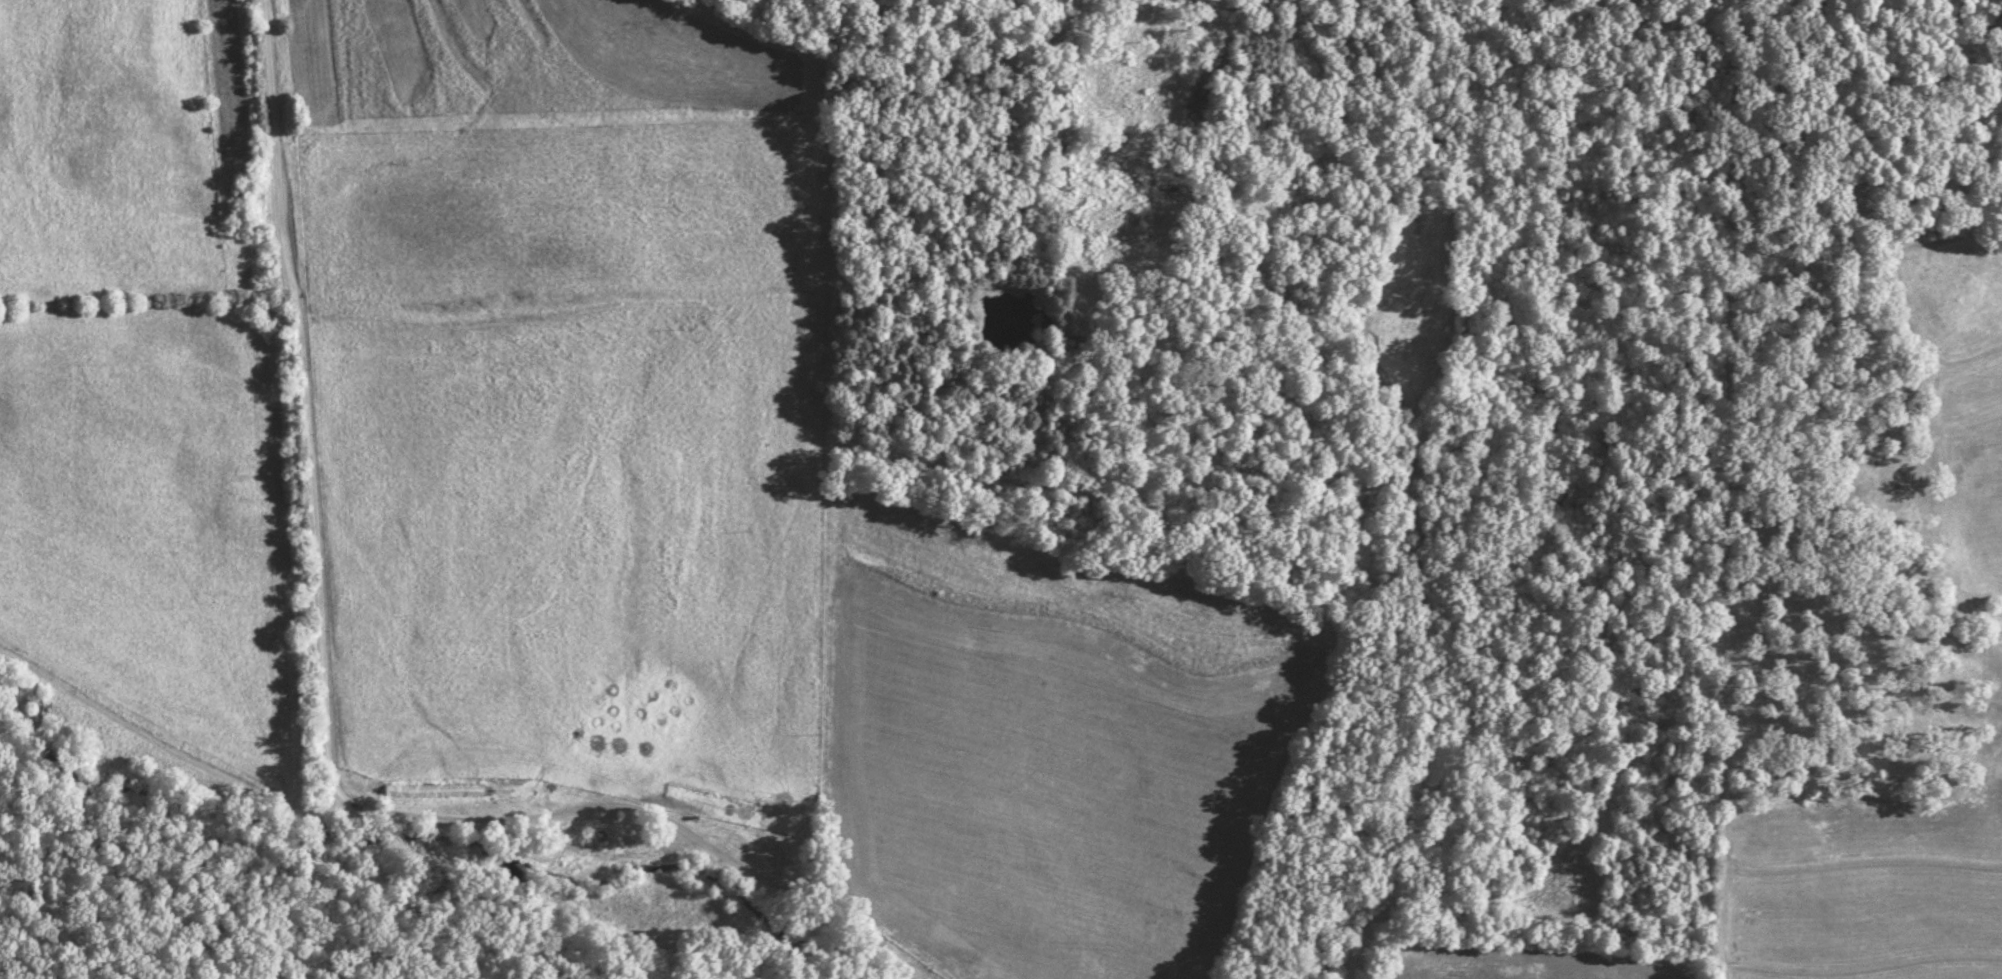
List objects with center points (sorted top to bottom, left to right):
road: (324, 711)
building: (510, 786)

